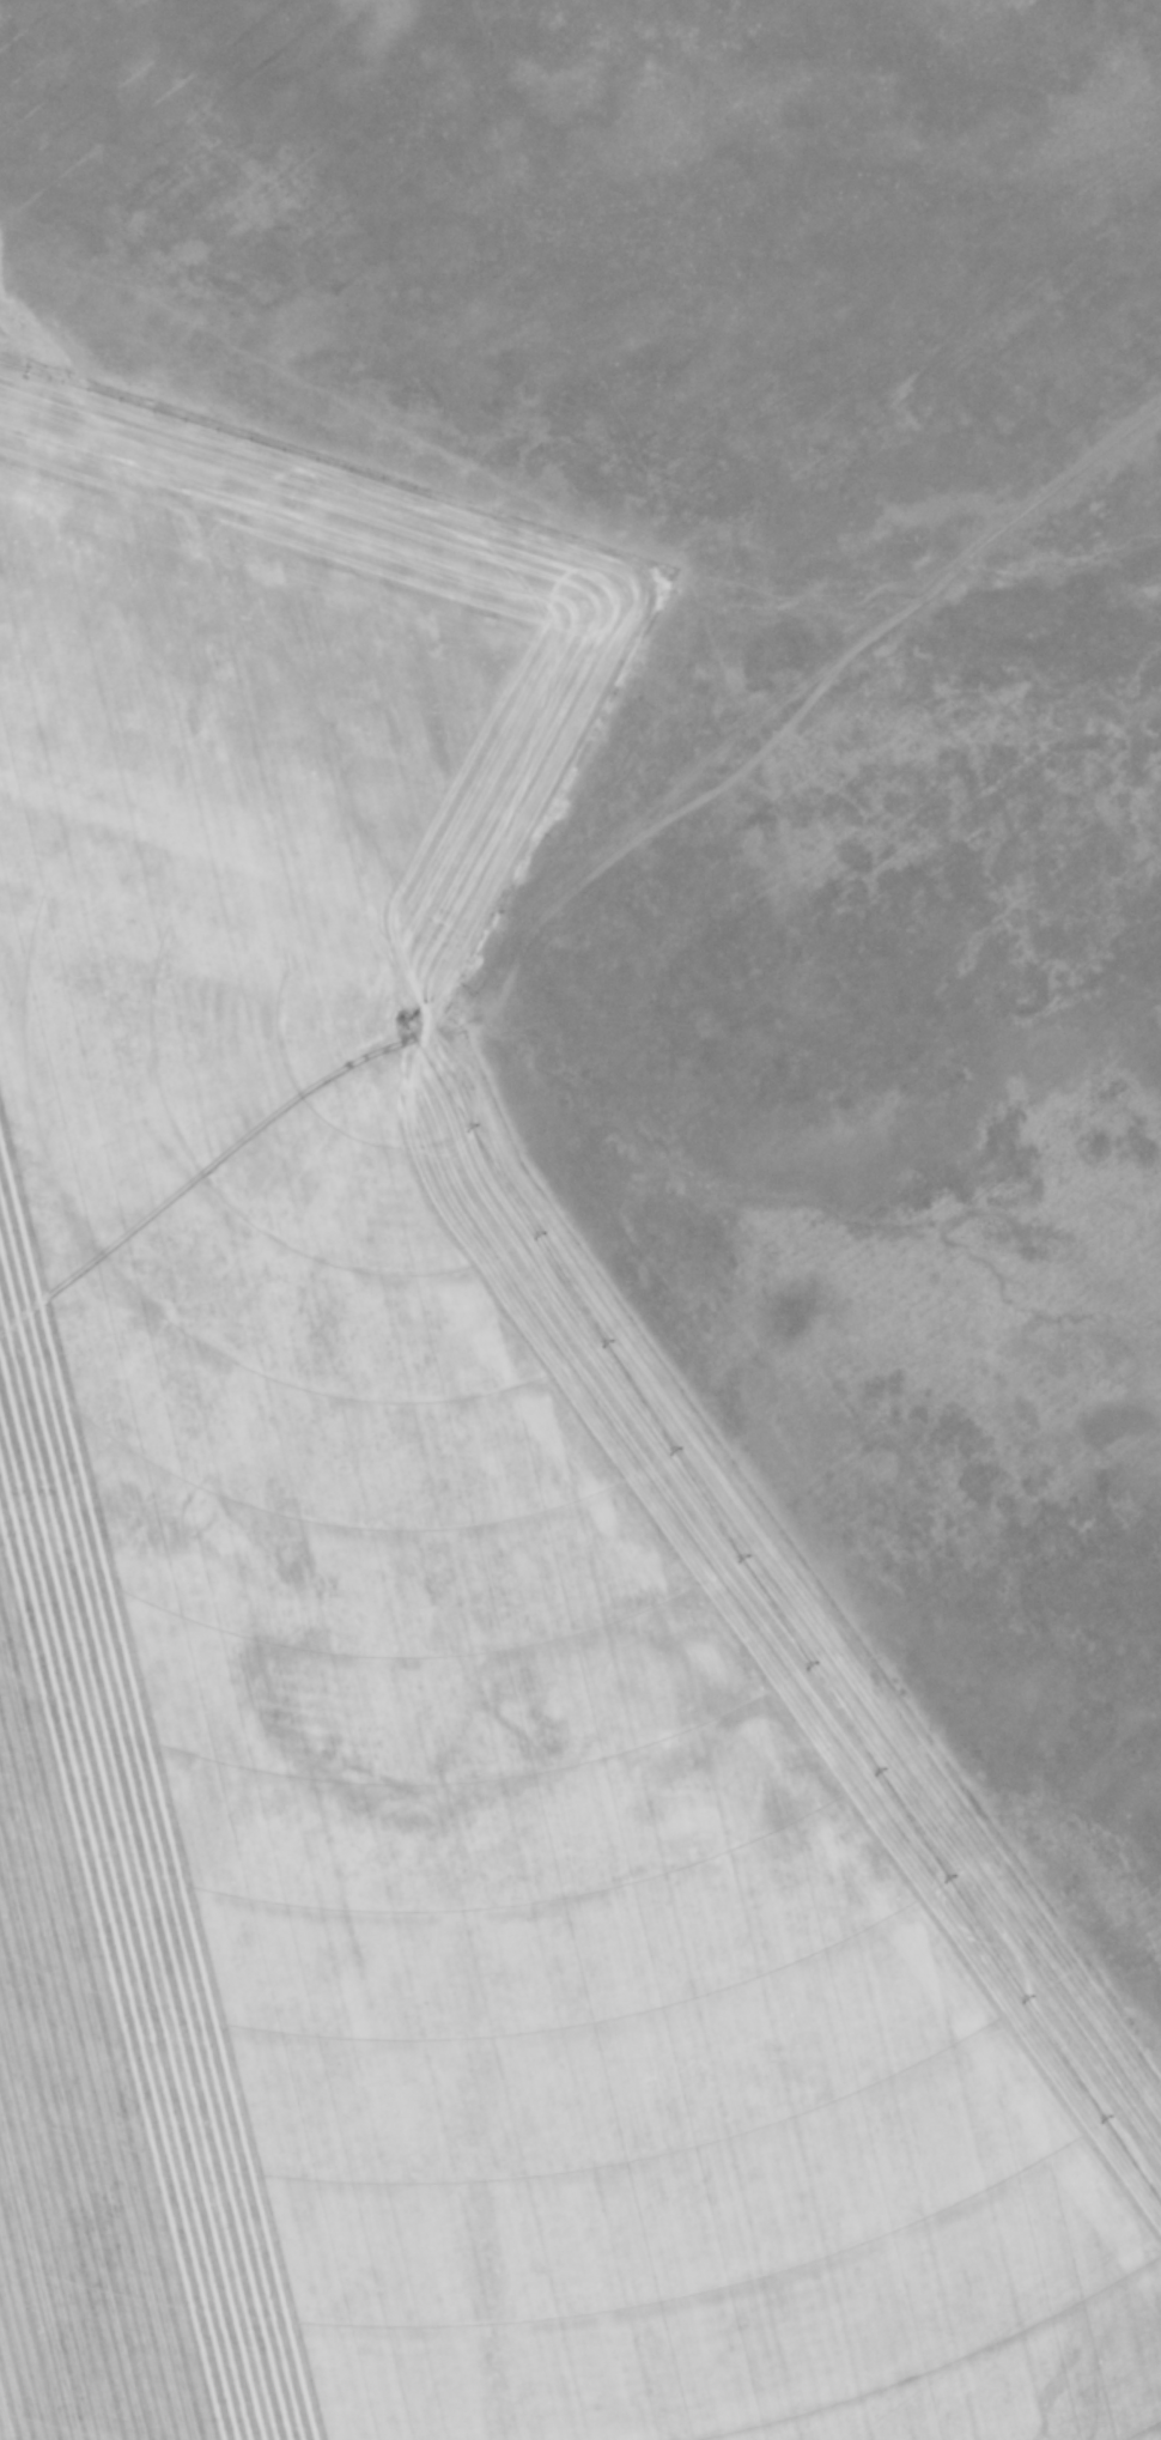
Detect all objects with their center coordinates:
road: (578, 295)
road: (8, 468)
crop: (434, 1621)

